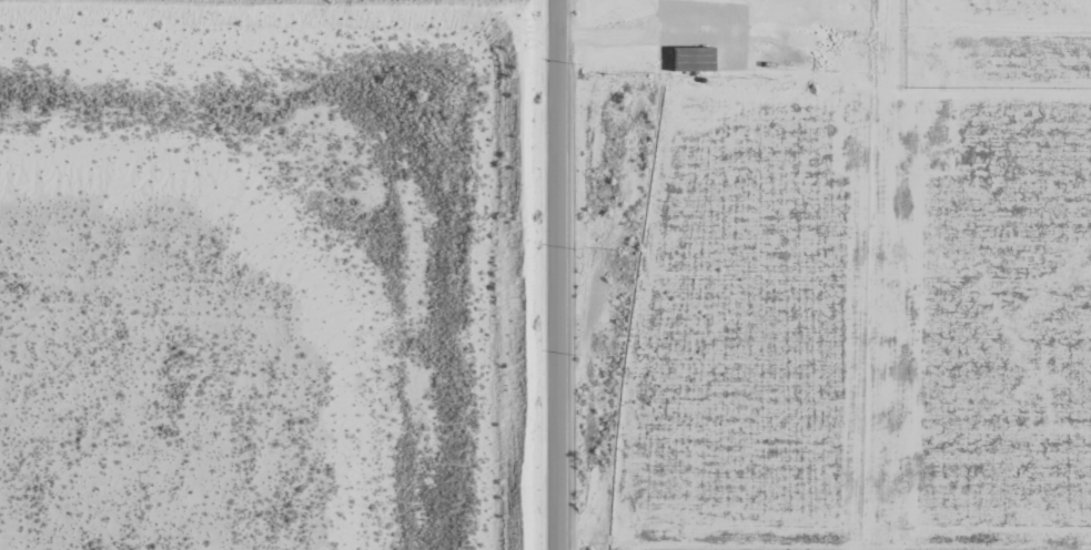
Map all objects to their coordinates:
road: (817, 11)
building: (693, 60)
road: (544, 274)

